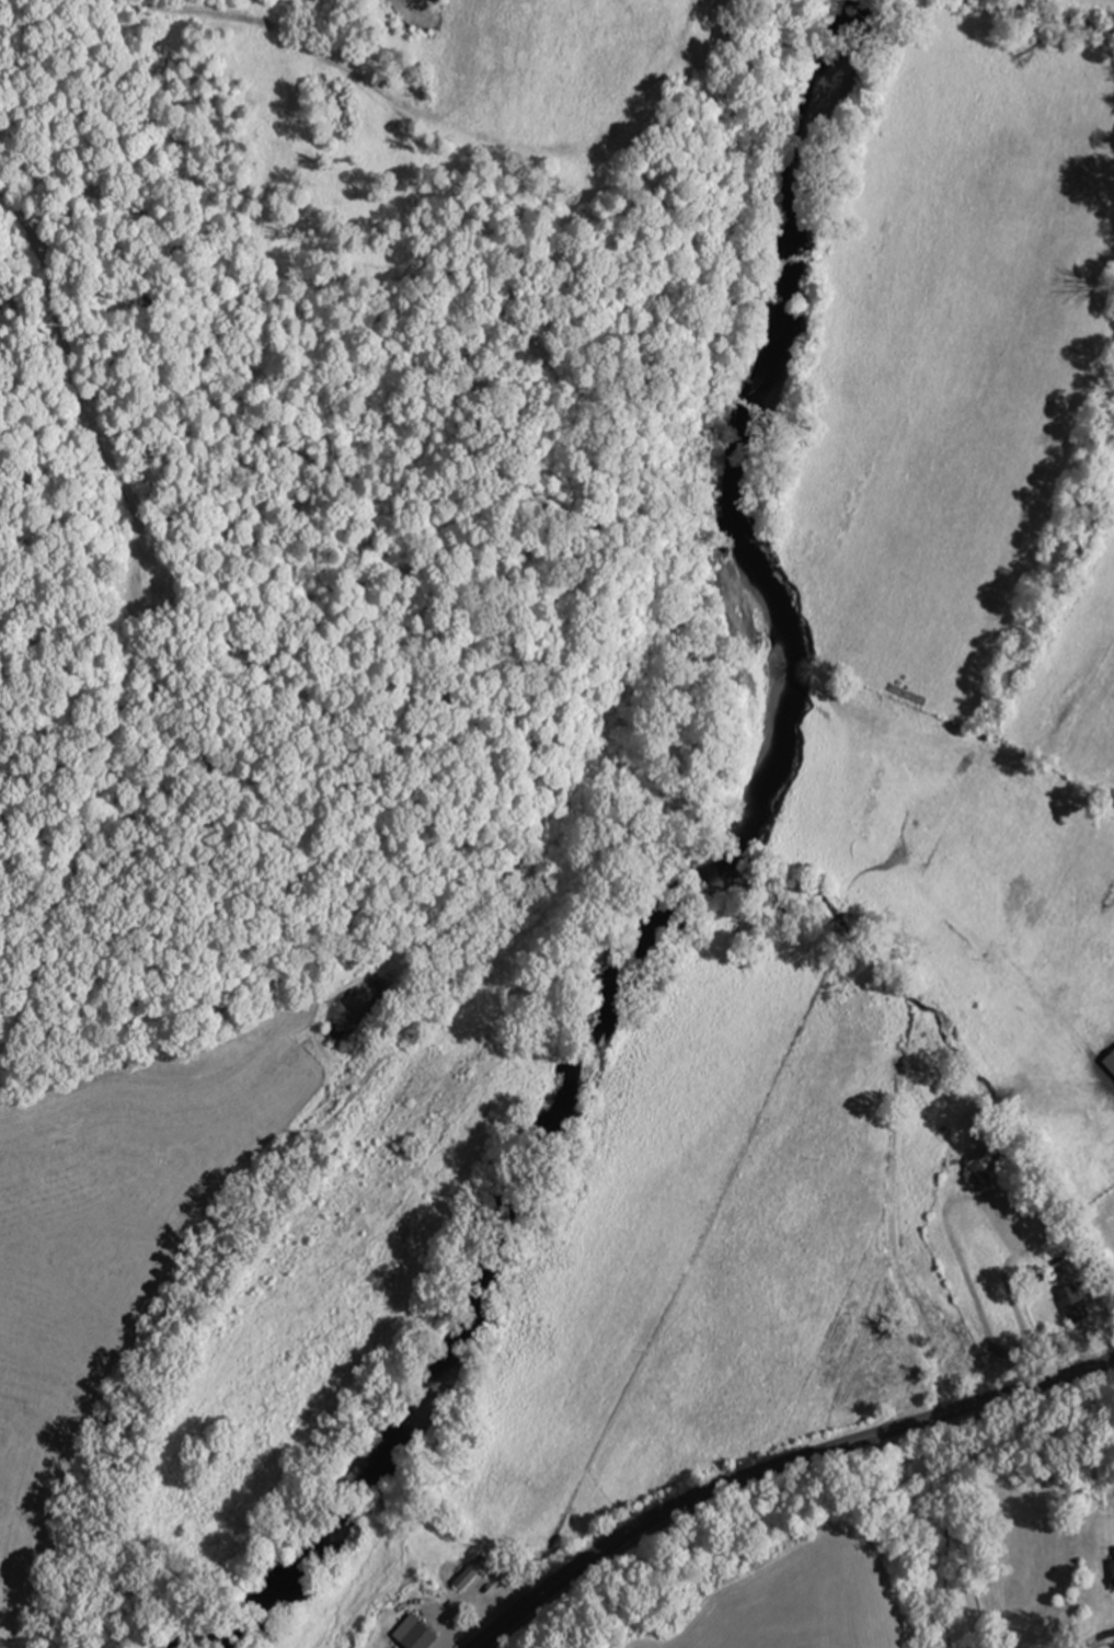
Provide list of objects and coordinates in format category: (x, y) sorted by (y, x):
river: (710, 870)
building: (1109, 1062)
building: (991, 1169)
building: (1077, 1304)
road: (778, 1466)
road: (961, 1529)
building: (475, 1571)
building: (420, 1633)

